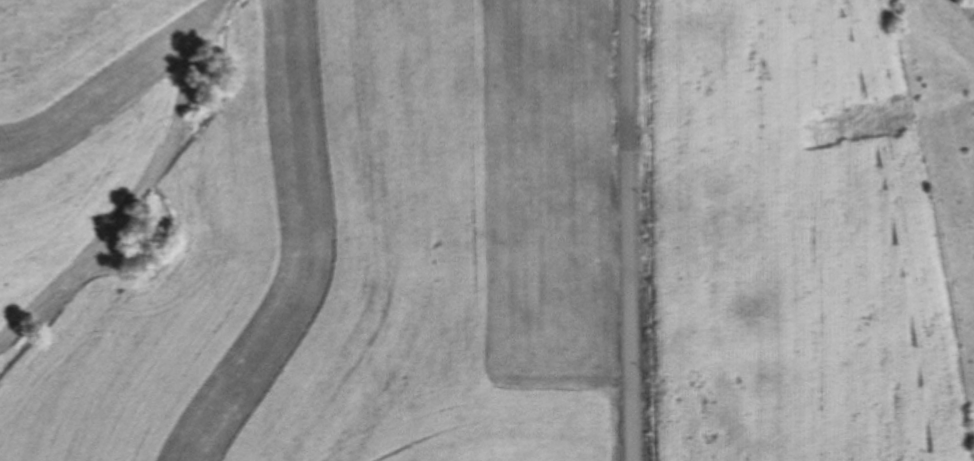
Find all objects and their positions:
road: (629, 230)

